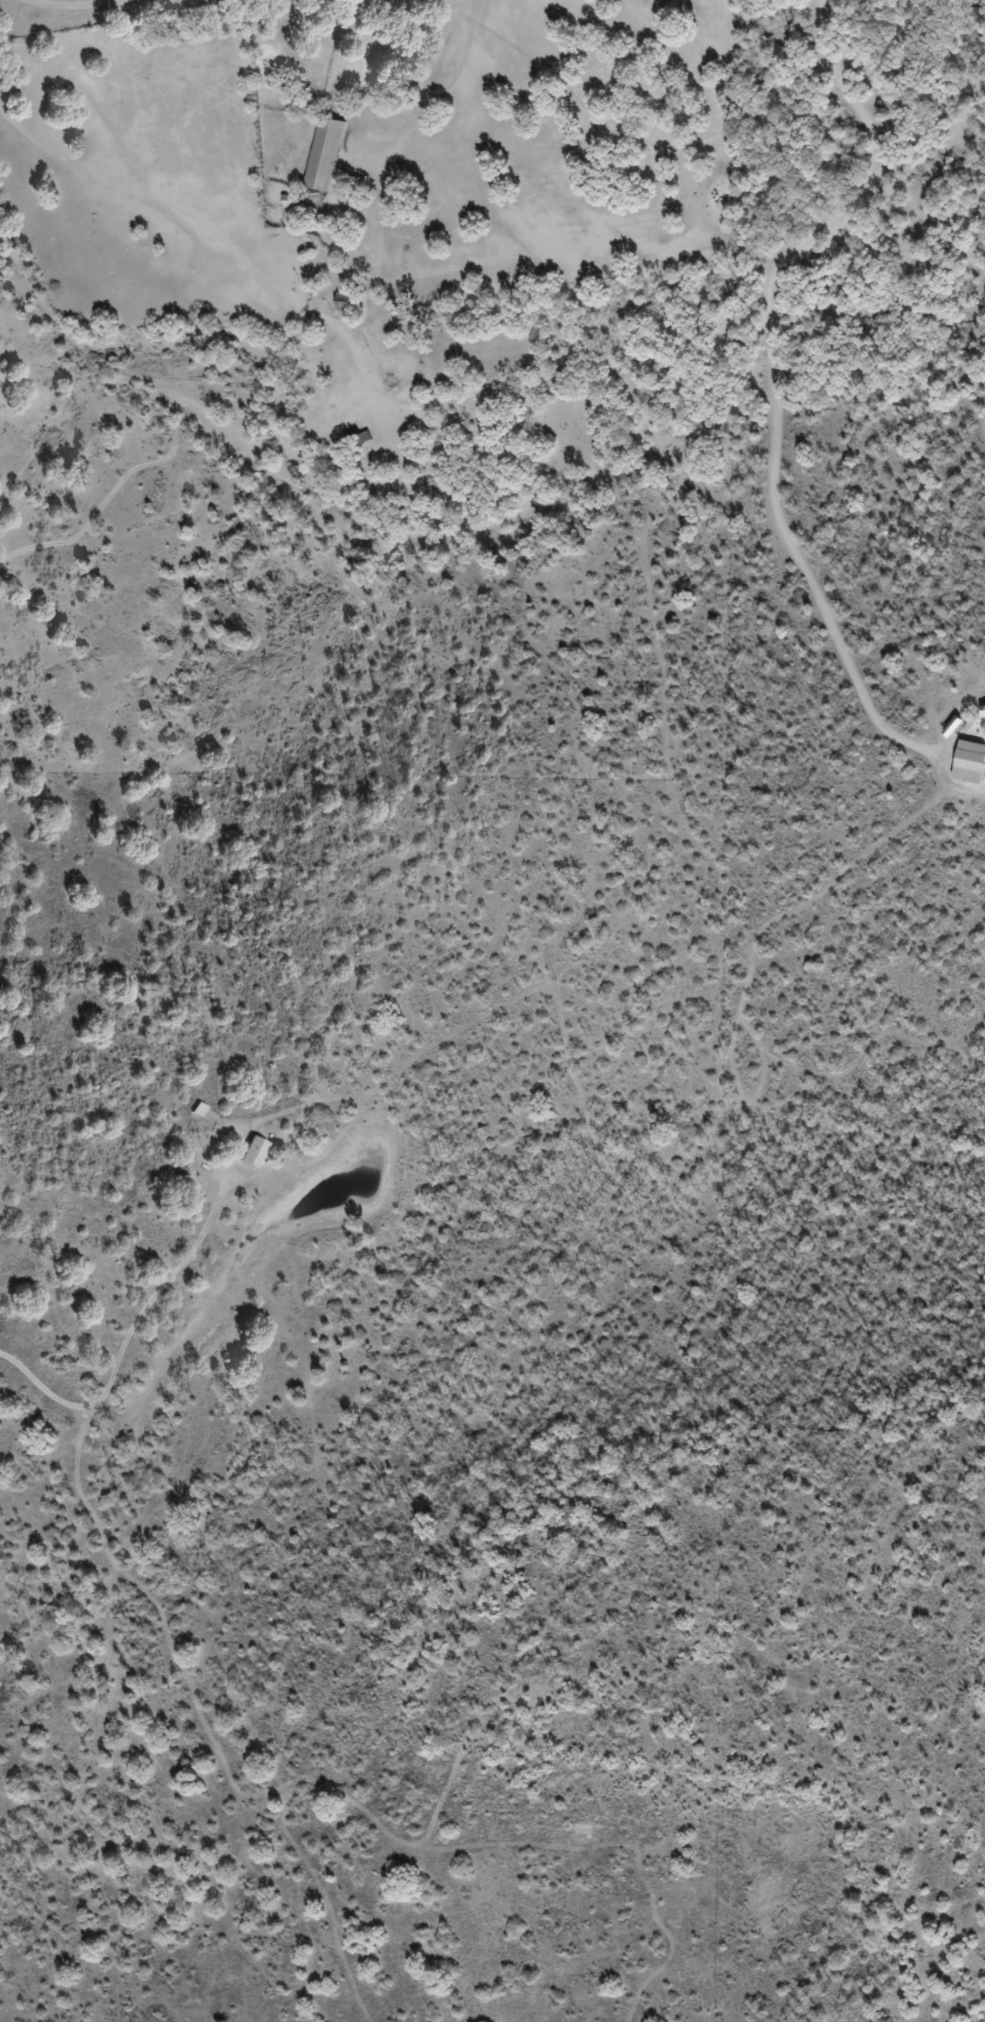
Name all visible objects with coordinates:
building: (325, 154)
building: (343, 301)
road: (549, 404)
building: (360, 438)
building: (970, 762)
building: (253, 1152)

